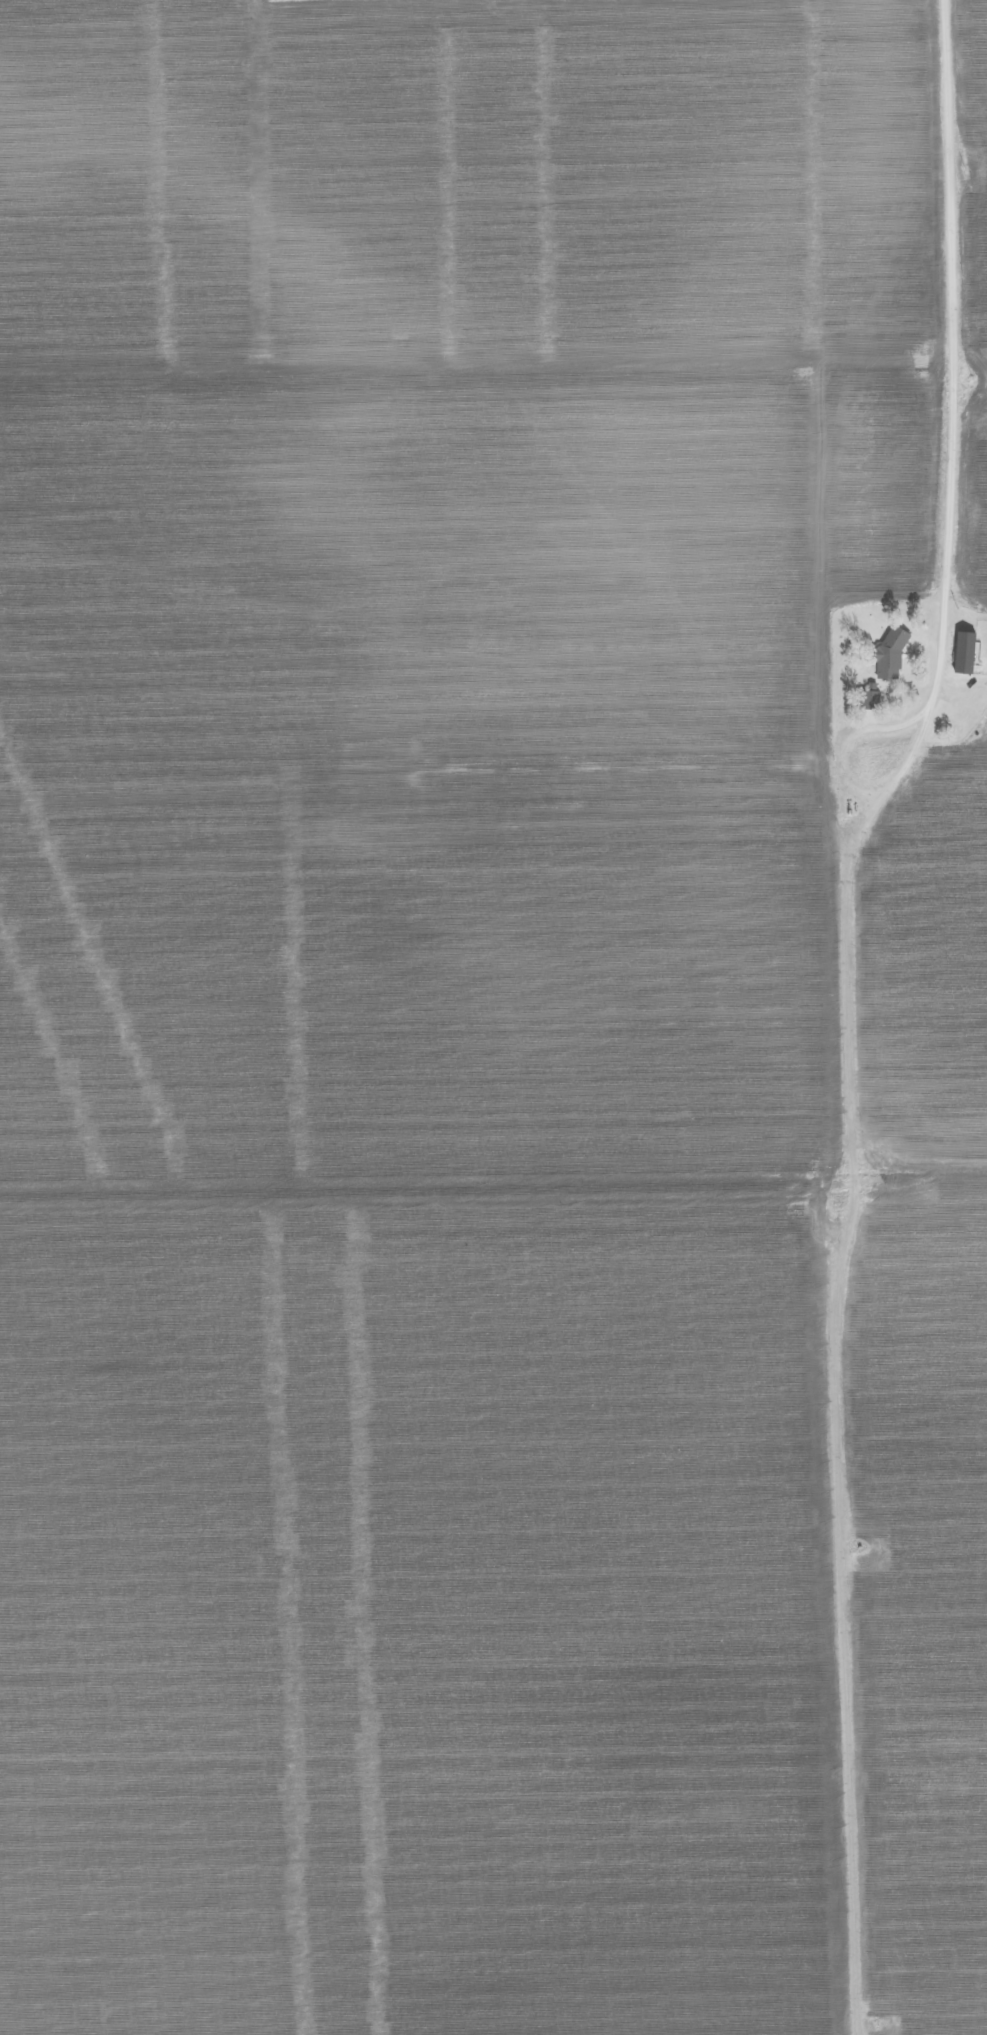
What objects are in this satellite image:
building: (872, 696)
road: (846, 1017)

